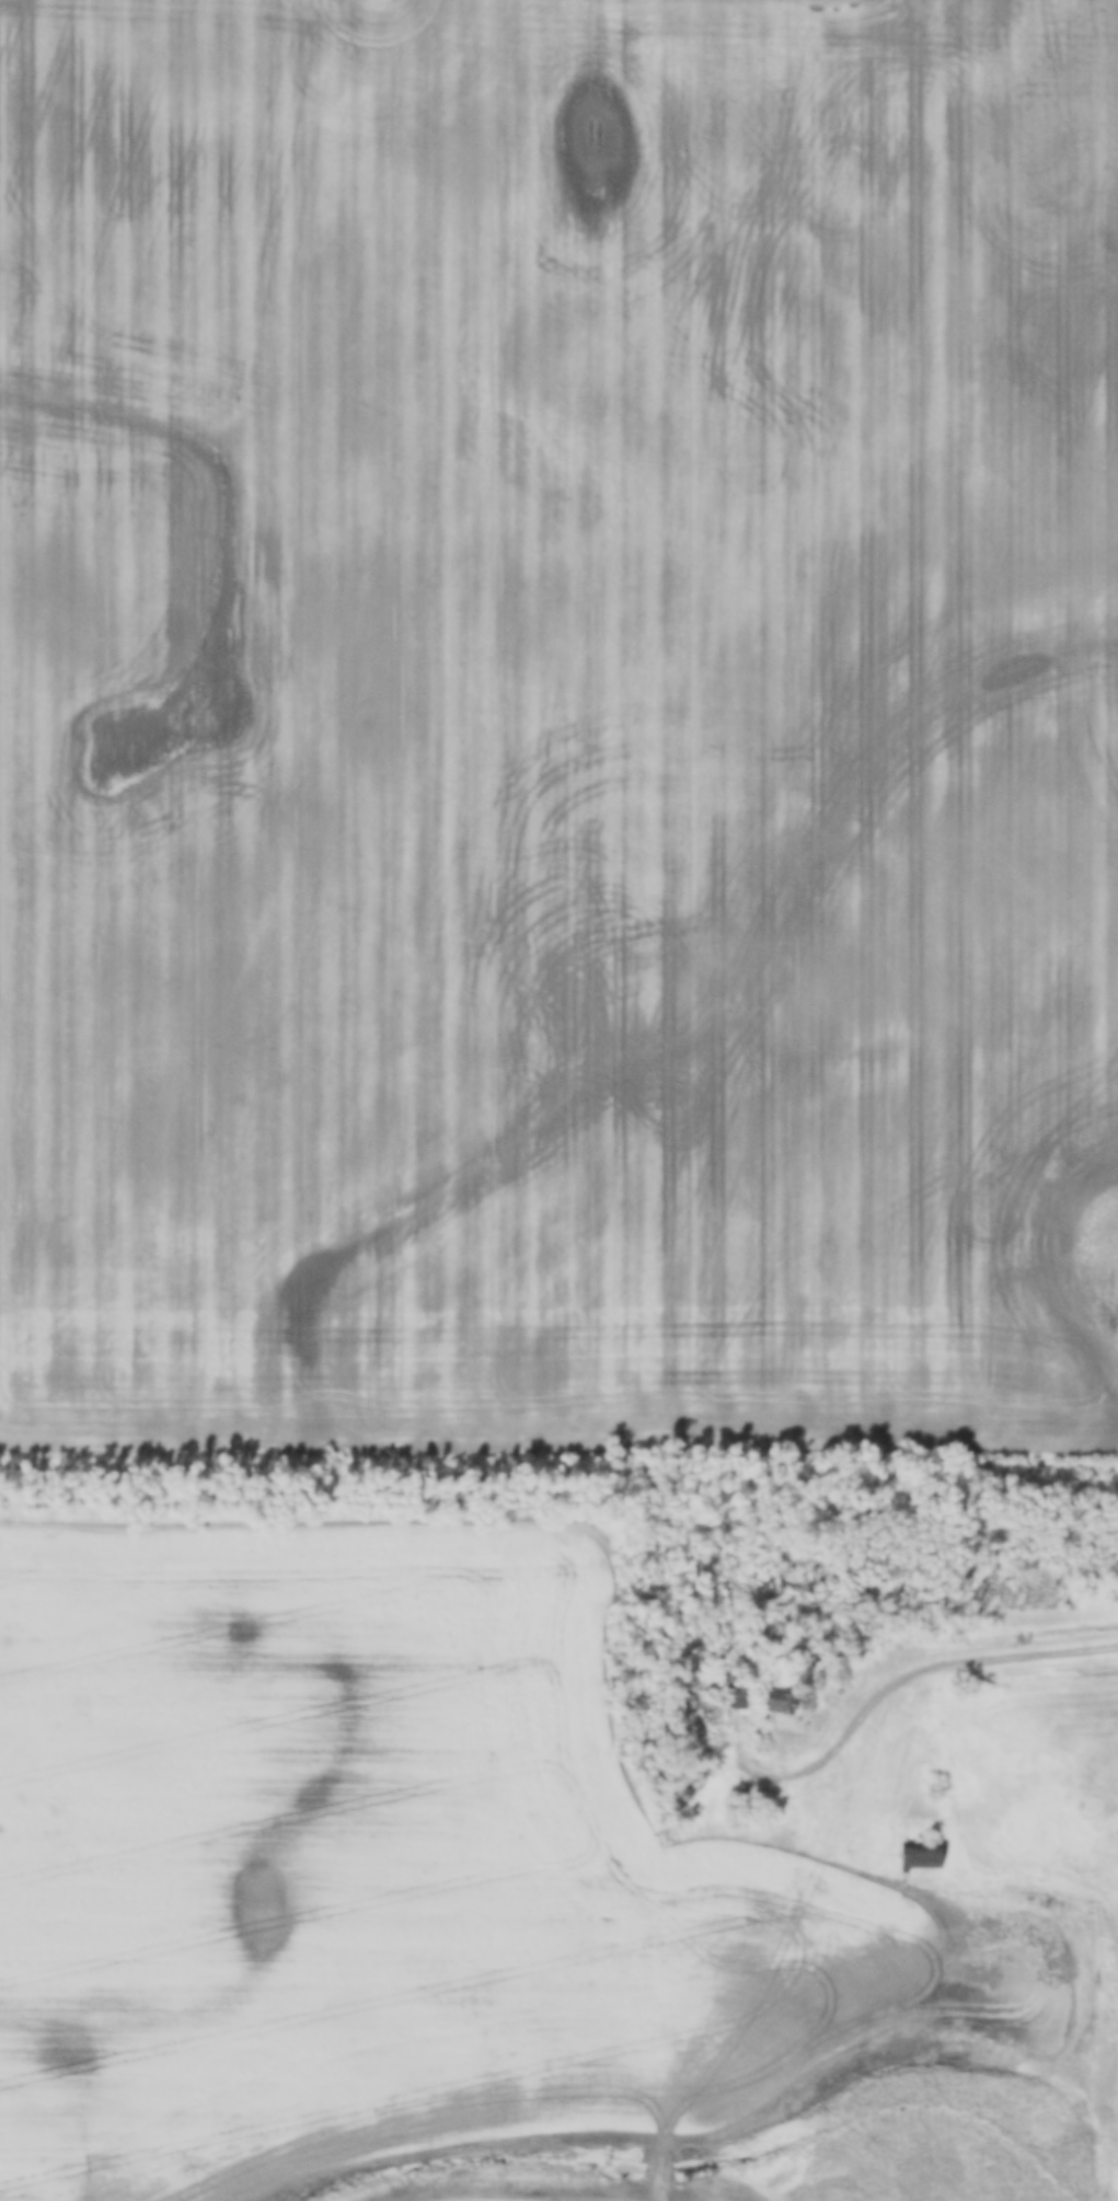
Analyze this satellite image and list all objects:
road: (899, 1682)
building: (737, 1693)
building: (754, 1697)
building: (781, 1703)
building: (698, 1782)
silo: (698, 1782)
building: (682, 1794)
silo: (682, 1794)
building: (748, 1799)
building: (920, 1853)

